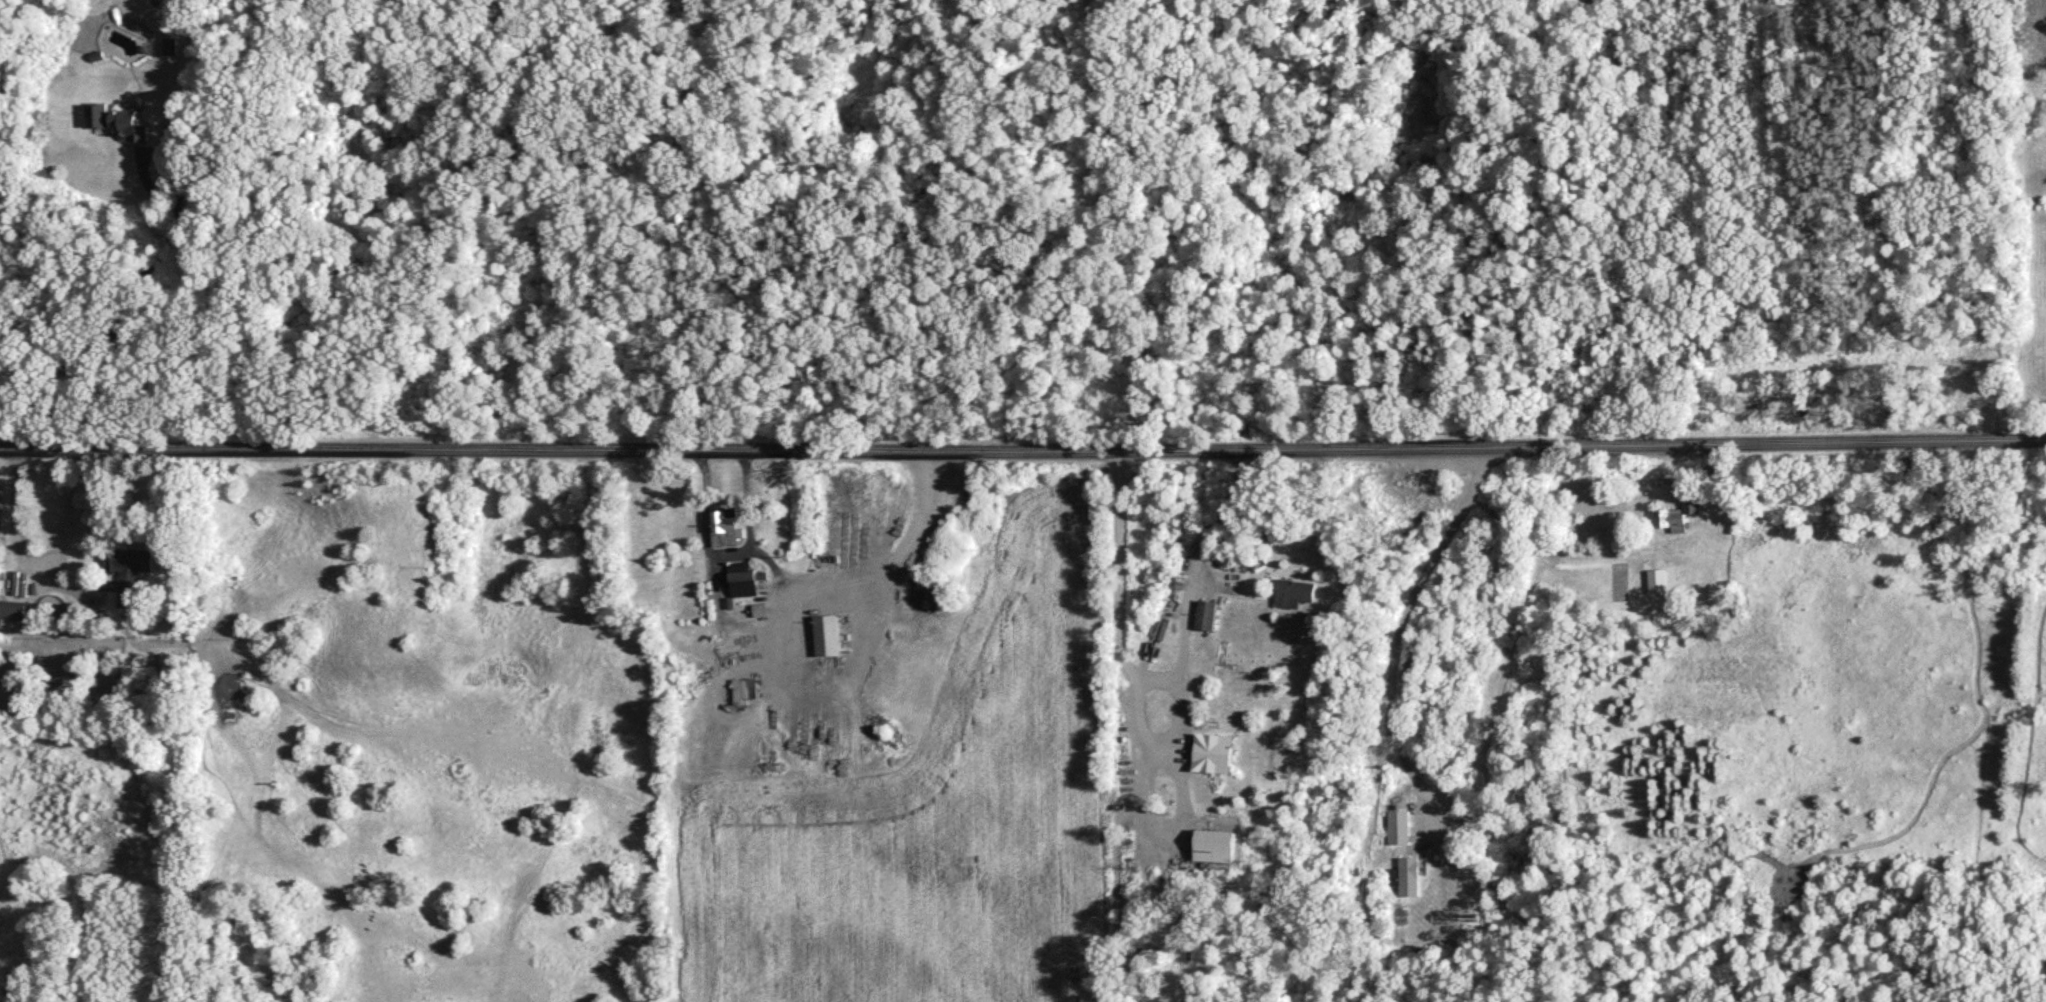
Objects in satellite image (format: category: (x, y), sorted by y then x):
road: (1021, 49)
building: (130, 130)
road: (1067, 229)
road: (114, 320)
road: (1023, 451)
building: (1681, 519)
road: (7, 521)
building: (731, 540)
building: (1686, 575)
building: (130, 580)
building: (746, 584)
building: (1297, 598)
building: (1209, 620)
building: (16, 621)
road: (1398, 621)
building: (829, 640)
road: (1131, 684)
building: (745, 694)
road: (582, 732)
building: (1220, 759)
building: (1398, 832)
building: (1409, 882)

